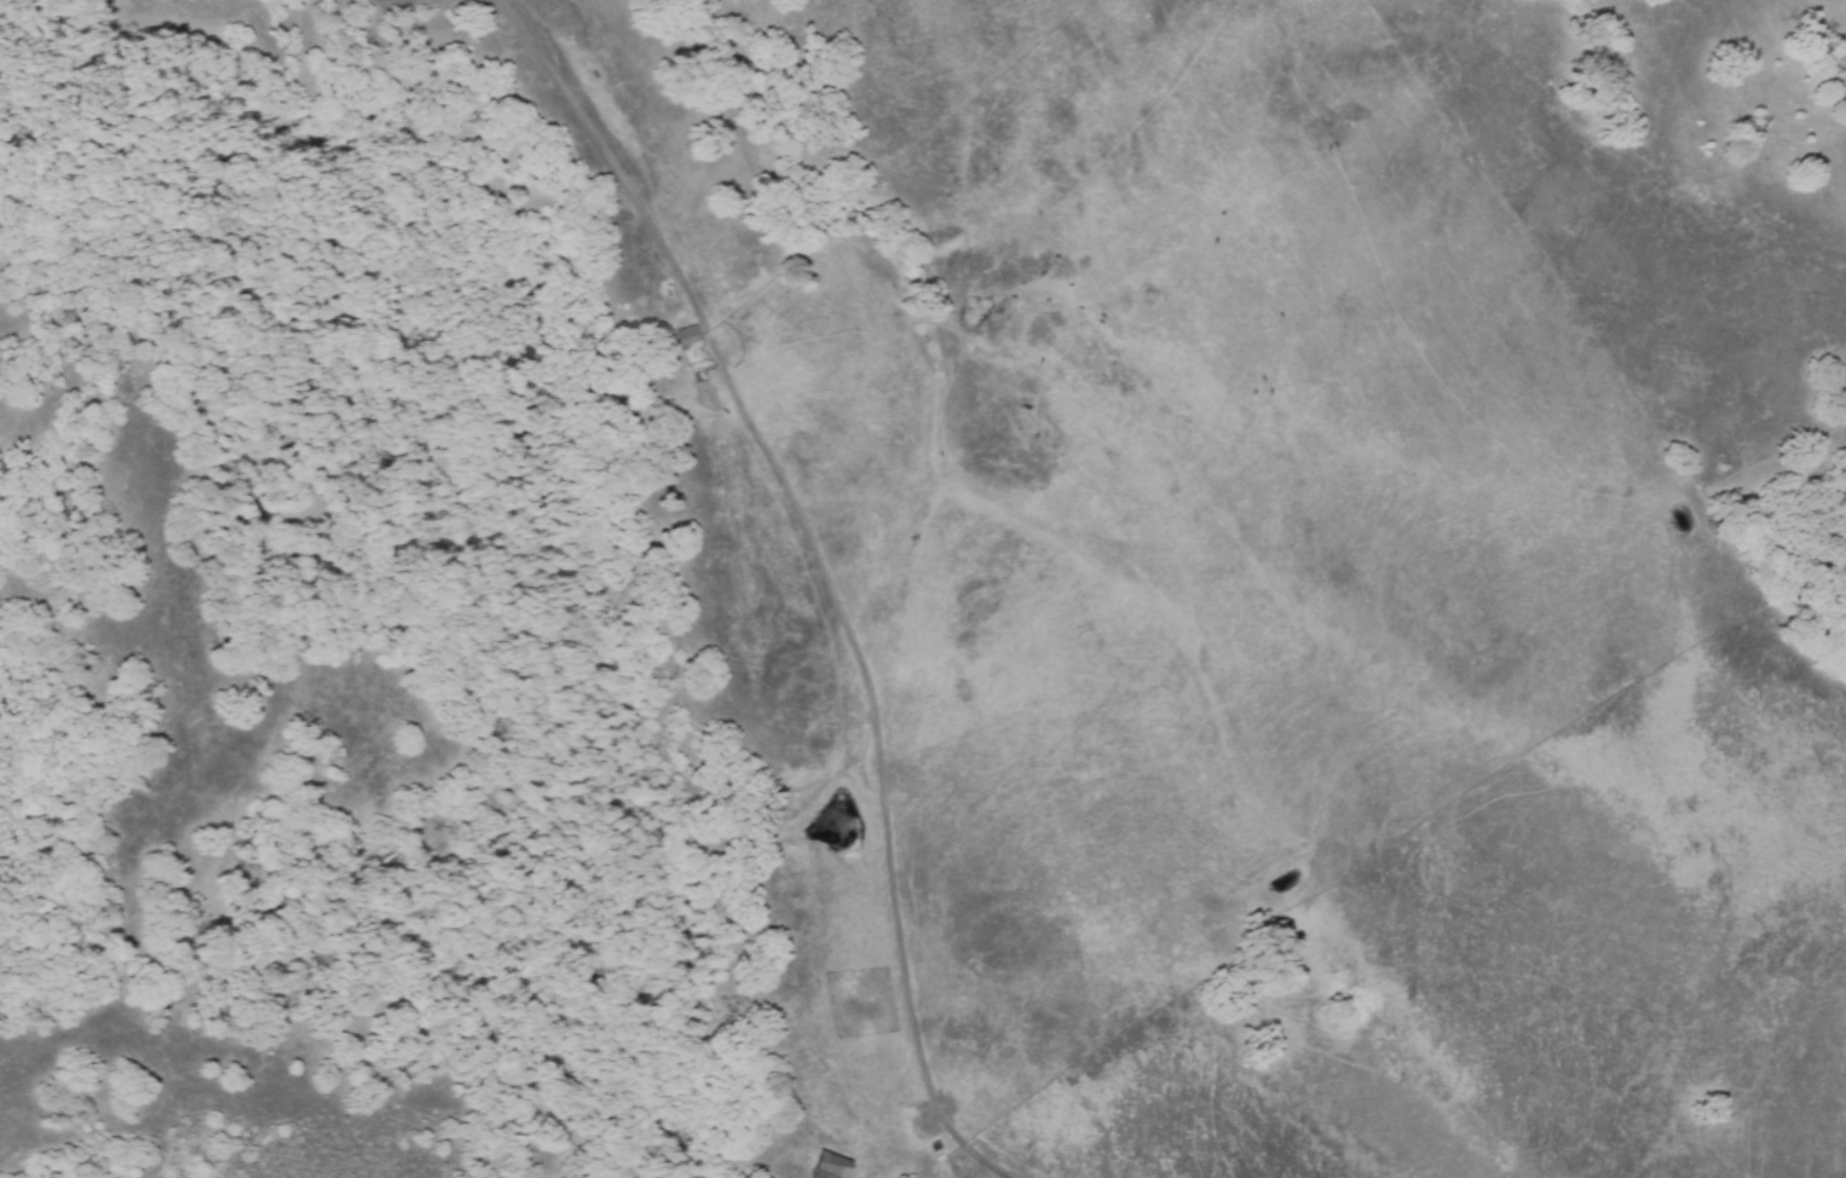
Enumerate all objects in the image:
building: (825, 1163)

